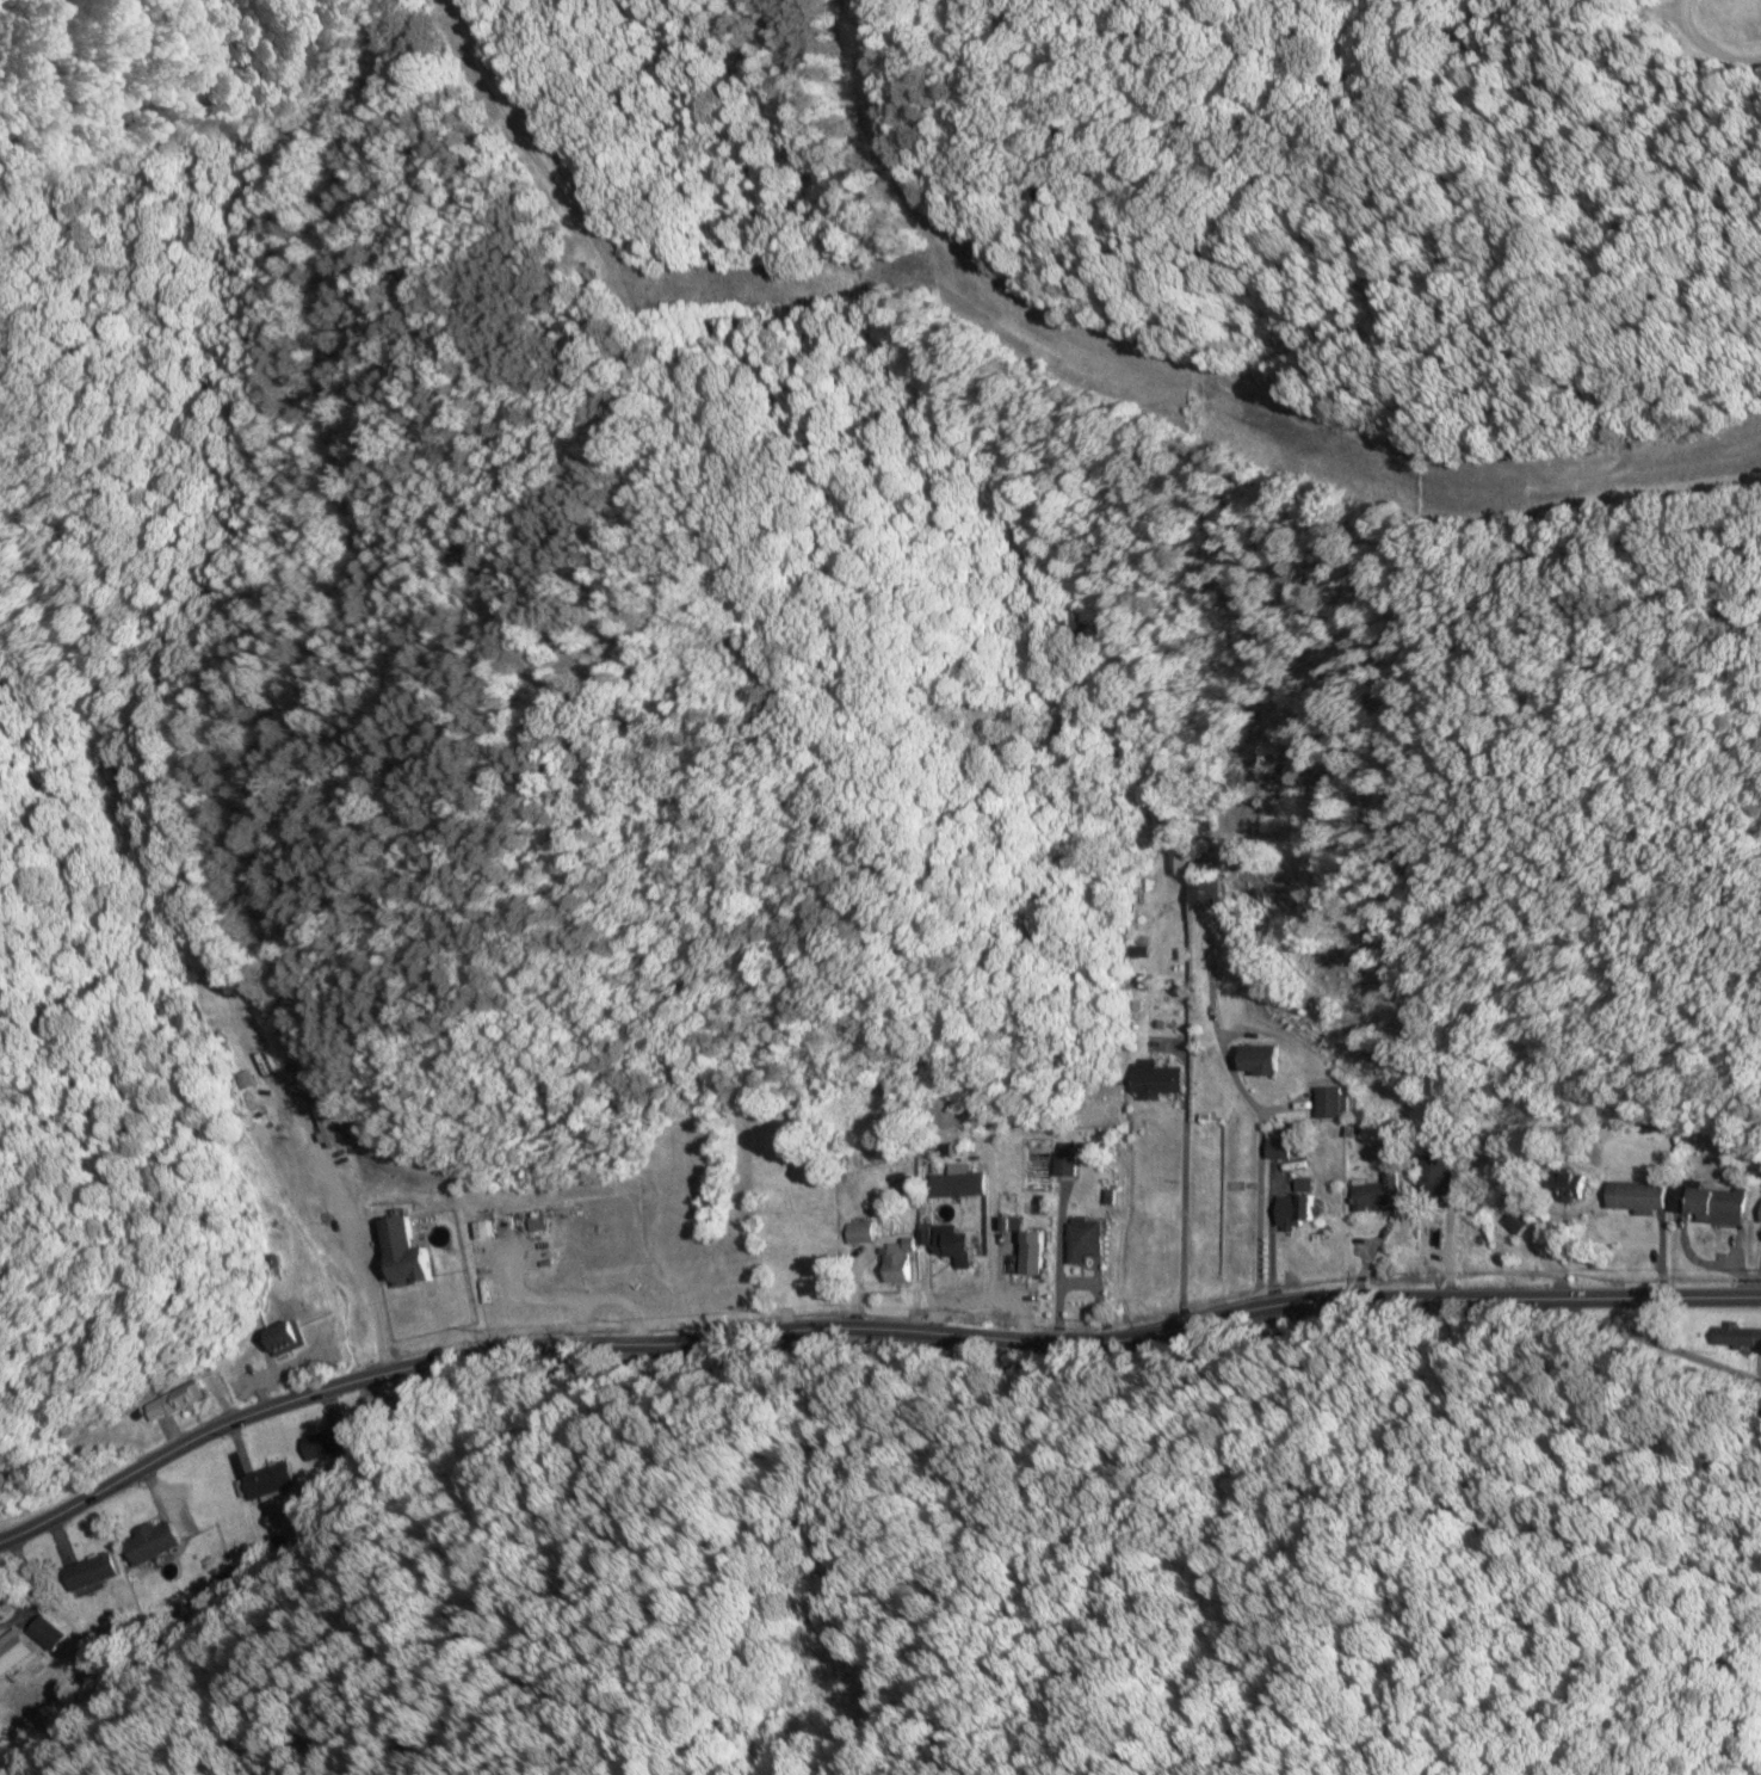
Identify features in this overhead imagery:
building: (1203, 892)
building: (245, 1028)
building: (1255, 1058)
building: (1155, 1078)
building: (1329, 1101)
building: (1278, 1147)
building: (1065, 1163)
building: (1435, 1165)
building: (1565, 1184)
building: (1374, 1191)
building: (1636, 1195)
building: (1710, 1202)
building: (1297, 1210)
building: (1760, 1214)
building: (536, 1222)
building: (858, 1231)
building: (1087, 1241)
building: (951, 1243)
building: (1025, 1245)
building: (895, 1262)
building: (402, 1314)
road: (863, 1327)
building: (1737, 1336)
road: (1648, 1342)
building: (172, 1400)
building: (328, 1442)
building: (270, 1479)
building: (150, 1541)
building: (89, 1571)
building: (45, 1632)
power tower: (76, 1650)
building: (17, 1657)

